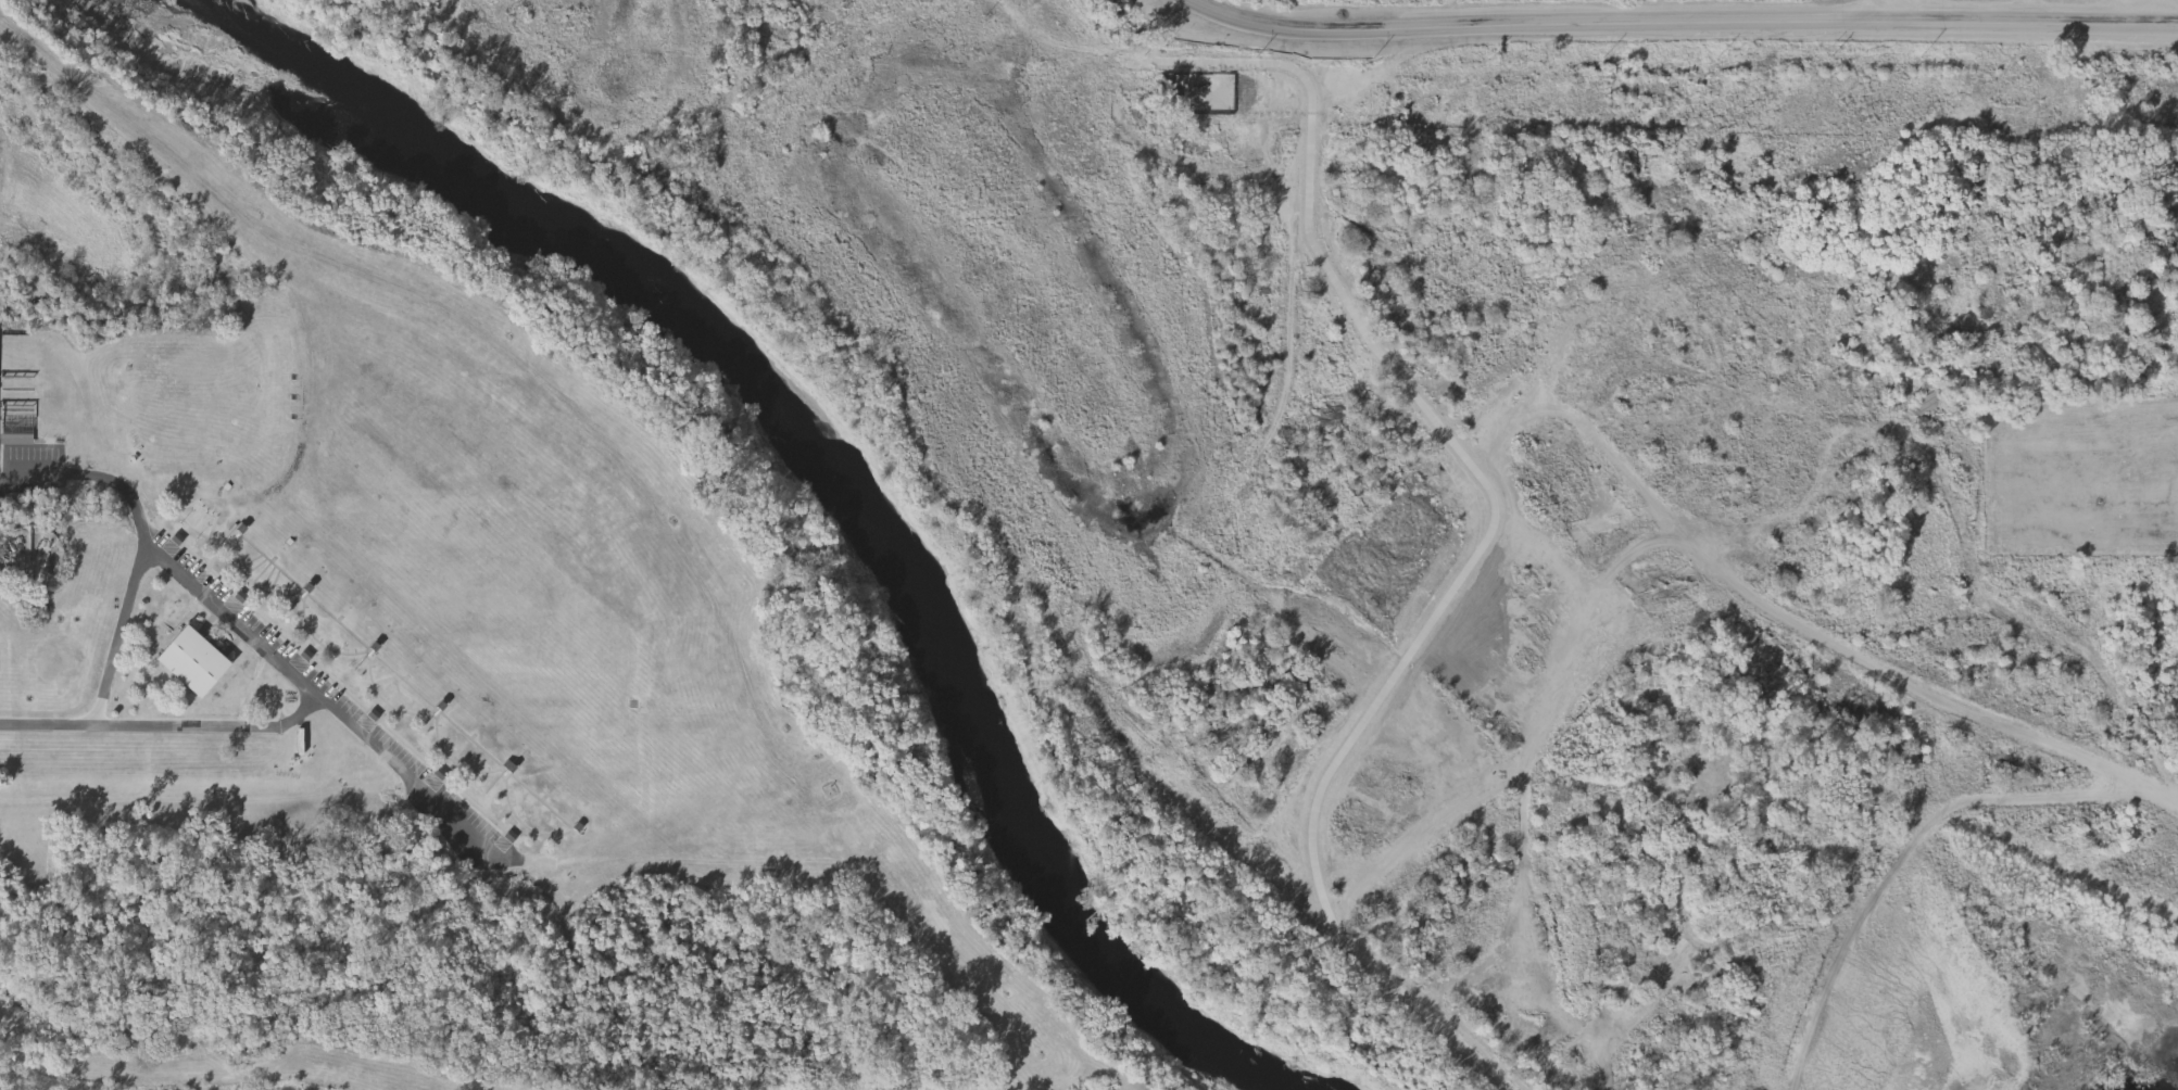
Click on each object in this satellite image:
road: (1195, 4)
road: (1884, 14)
road: (2029, 14)
road: (2117, 14)
road: (2156, 14)
road: (1688, 26)
building: (18, 434)
river: (813, 449)
road: (95, 476)
road: (166, 558)
road: (1343, 587)
building: (192, 662)
road: (274, 726)

